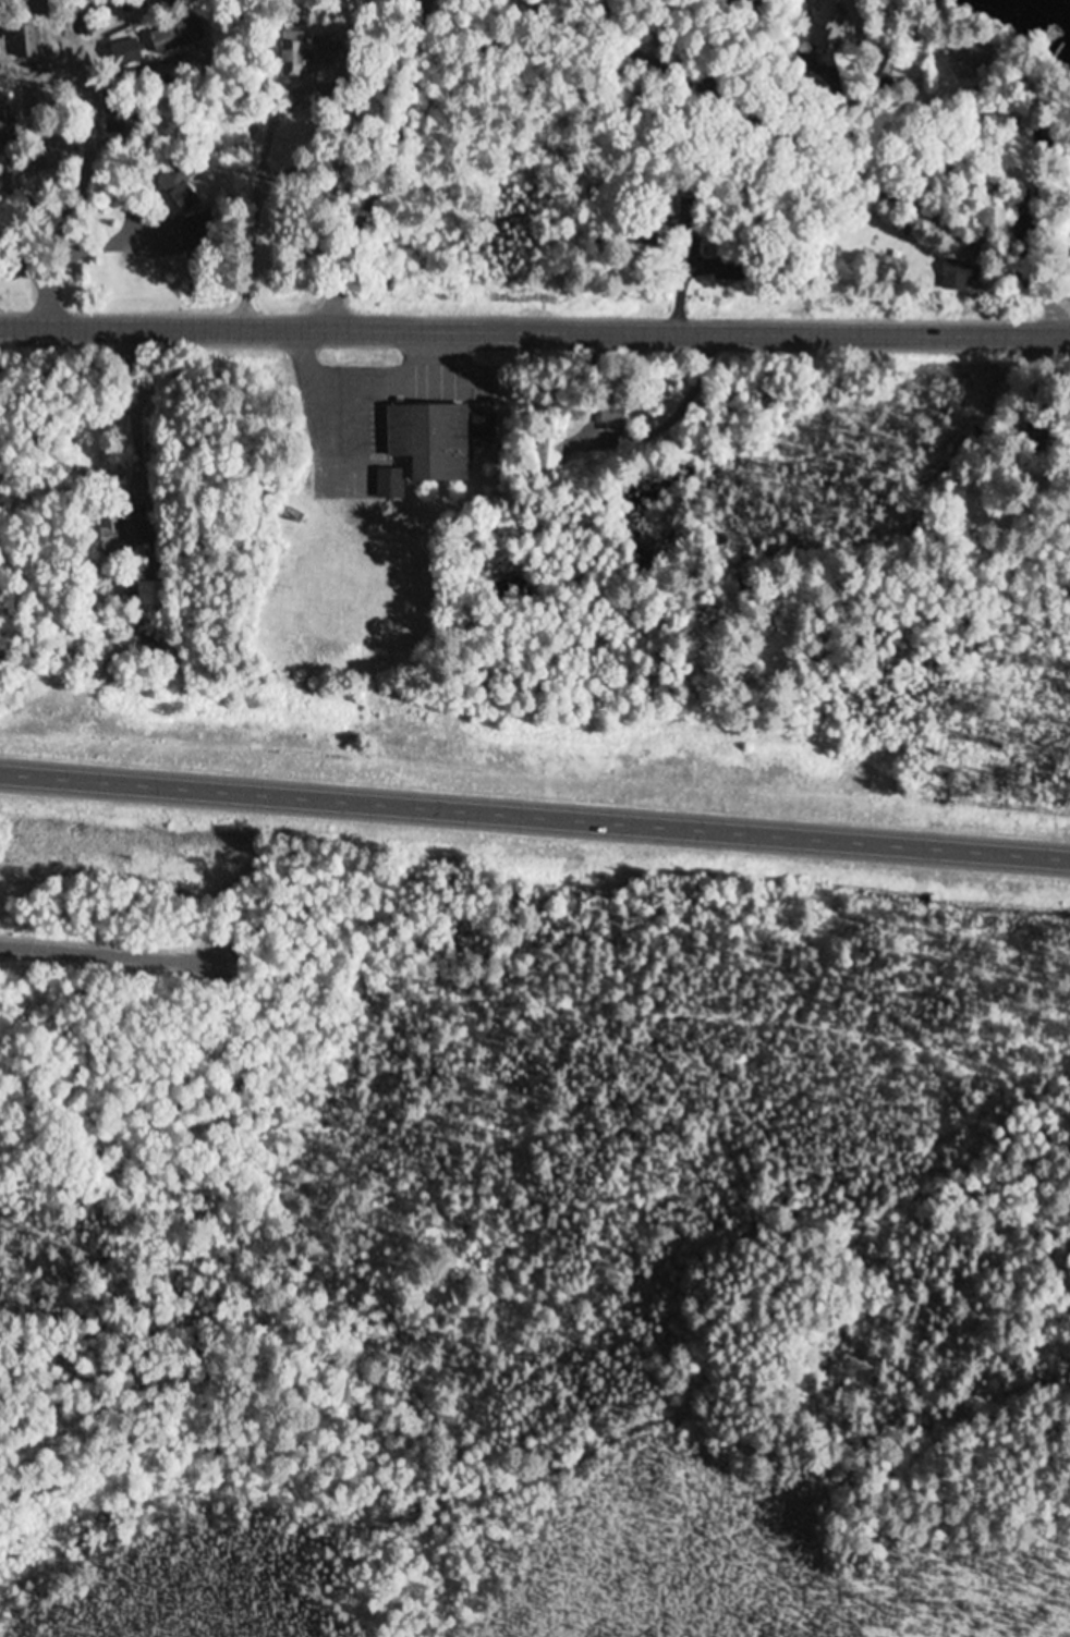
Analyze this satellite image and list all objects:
building: (830, 28)
building: (177, 35)
building: (27, 42)
building: (126, 54)
building: (308, 54)
building: (113, 110)
building: (4, 120)
building: (1035, 124)
road: (807, 148)
road: (387, 168)
building: (181, 185)
building: (959, 277)
road: (534, 334)
building: (615, 419)
building: (484, 427)
building: (431, 442)
building: (549, 455)
building: (390, 486)
building: (124, 535)
building: (153, 595)
road: (535, 819)
road: (105, 958)

